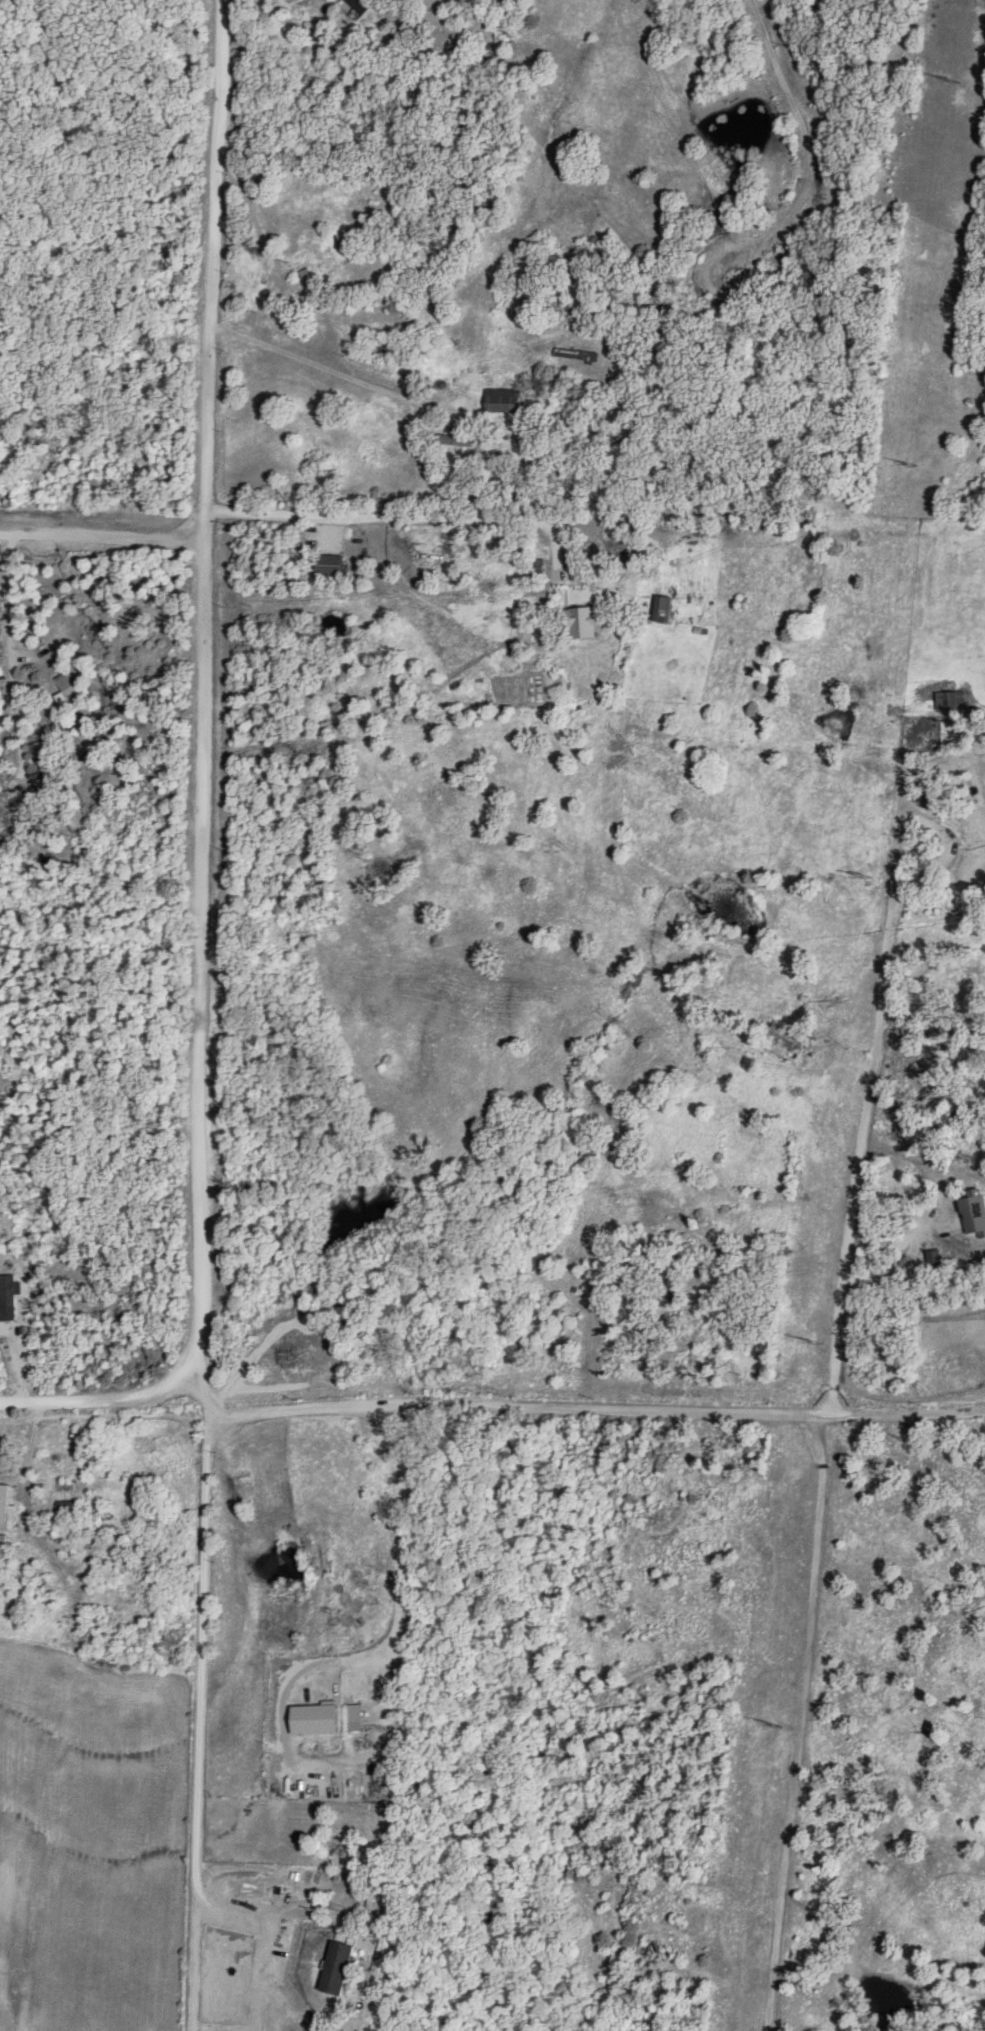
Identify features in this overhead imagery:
building: (303, 8)
power tower: (949, 78)
building: (319, 253)
road: (311, 361)
building: (503, 400)
building: (459, 437)
power tower: (907, 463)
road: (401, 521)
road: (104, 537)
building: (662, 607)
building: (581, 620)
building: (65, 687)
building: (39, 757)
power tower: (863, 876)
road: (203, 995)
road: (873, 1052)
road: (919, 1158)
building: (973, 1212)
building: (7, 1297)
power tower: (806, 1343)
road: (100, 1399)
road: (599, 1408)
building: (2, 1463)
building: (3, 1504)
power tower: (768, 1719)
road: (803, 1723)
building: (335, 1968)

